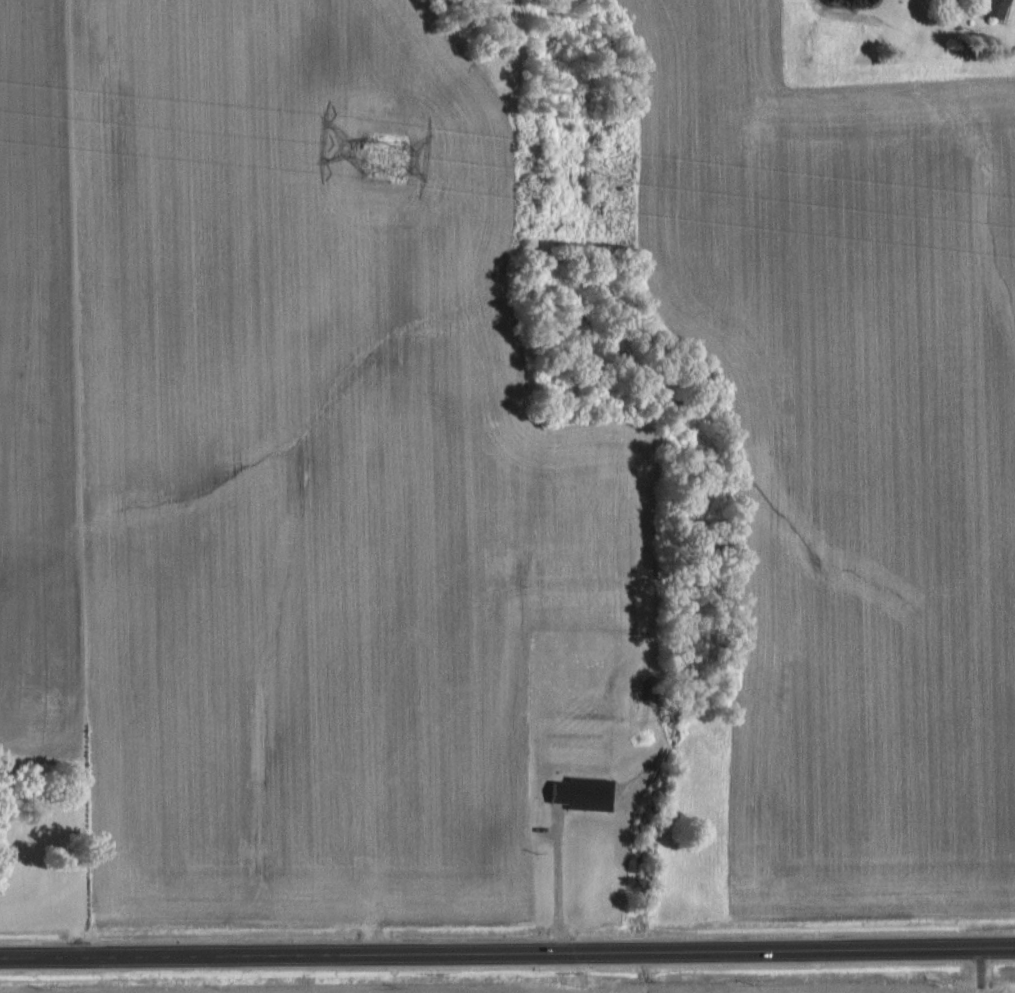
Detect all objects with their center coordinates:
building: (994, 8)
power tower: (379, 144)
road: (507, 953)

